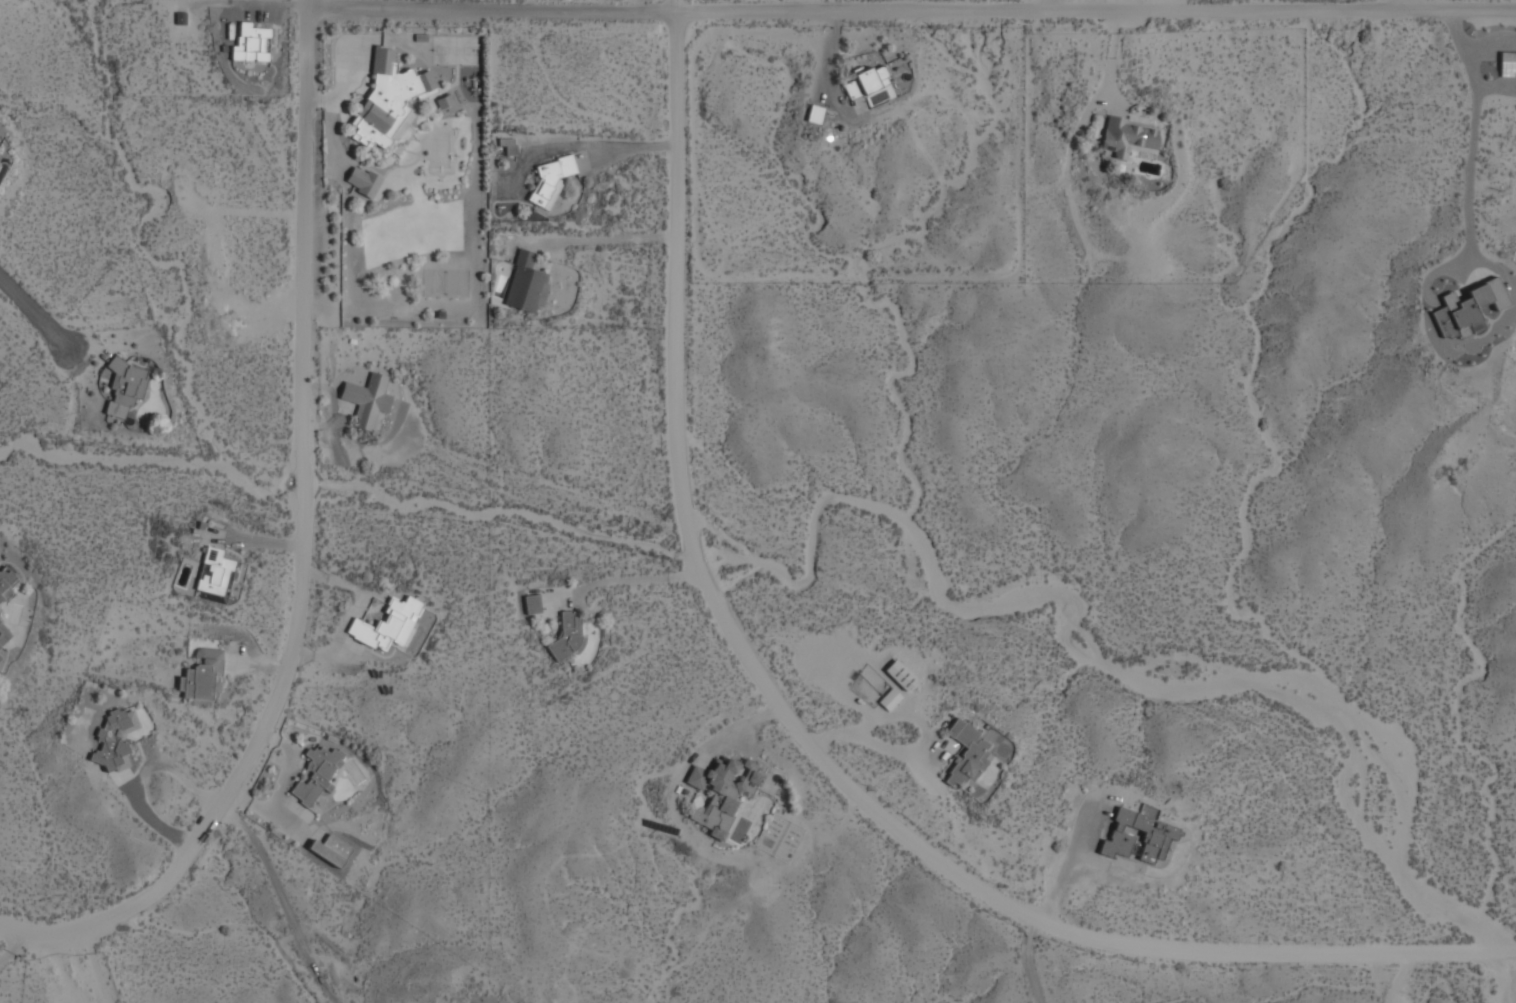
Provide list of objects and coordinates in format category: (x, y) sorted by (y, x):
road: (1408, 5)
road: (1051, 9)
road: (914, 17)
building: (180, 19)
building: (251, 44)
building: (1508, 65)
building: (872, 79)
building: (850, 90)
building: (388, 101)
building: (444, 103)
building: (815, 114)
building: (1129, 138)
road: (1470, 142)
road: (594, 145)
building: (510, 147)
building: (550, 180)
building: (363, 182)
road: (610, 238)
building: (526, 284)
building: (1468, 310)
road: (40, 317)
building: (125, 388)
building: (367, 400)
road: (309, 551)
building: (215, 573)
building: (6, 583)
building: (532, 605)
building: (388, 625)
building: (4, 635)
building: (568, 637)
building: (1, 660)
building: (203, 677)
building: (890, 700)
road: (807, 740)
building: (114, 741)
building: (967, 754)
building: (316, 774)
road: (138, 776)
building: (721, 796)
building: (1162, 838)
building: (330, 850)
road: (282, 904)
road: (11, 949)
road: (1035, 962)

